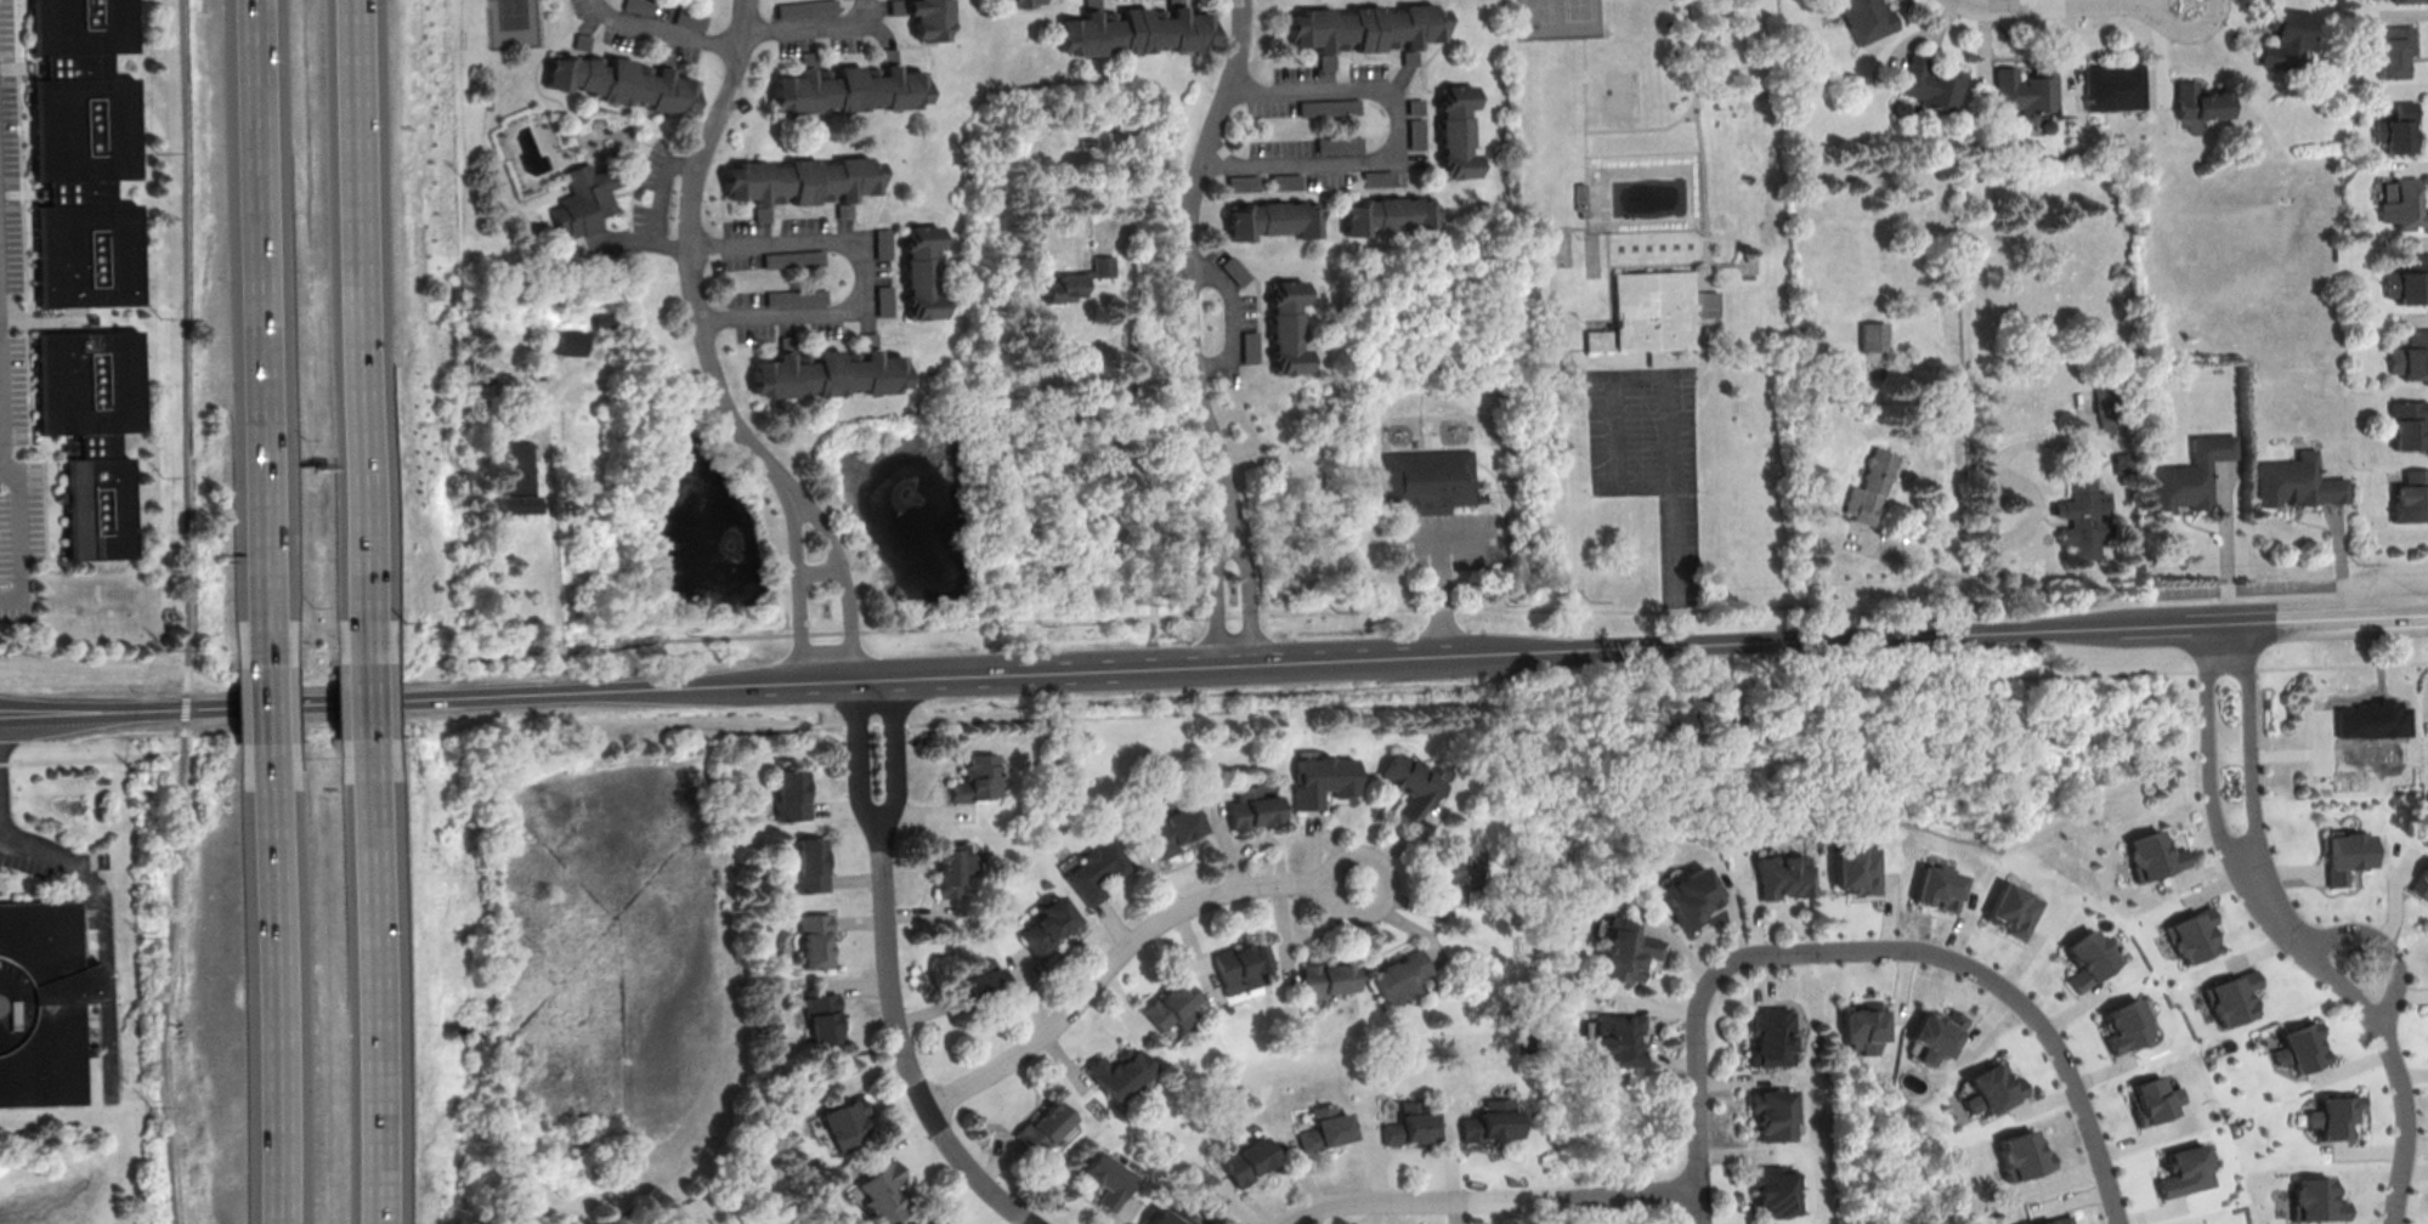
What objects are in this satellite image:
building: (2400, 0)
building: (1024, 2)
road: (2072, 4)
building: (805, 7)
building: (929, 18)
park: (1557, 18)
building: (1866, 18)
park: (514, 23)
building: (1366, 27)
road: (814, 28)
road: (662, 29)
building: (1134, 30)
building: (2282, 38)
building: (2387, 49)
building: (621, 81)
building: (1930, 83)
building: (2112, 86)
building: (849, 87)
building: (2025, 92)
building: (2196, 101)
building: (2395, 127)
building: (1456, 131)
road: (1399, 135)
building: (1340, 144)
building: (83, 153)
building: (799, 181)
parking lot: (655, 198)
building: (587, 199)
building: (2400, 204)
building: (1387, 215)
building: (1269, 217)
road: (813, 239)
building: (881, 253)
building: (792, 257)
road: (691, 259)
road: (1190, 261)
building: (1233, 270)
building: (919, 271)
building: (2407, 278)
building: (1077, 279)
building: (796, 296)
building: (884, 299)
road: (257, 310)
road: (355, 310)
building: (1659, 311)
building: (599, 319)
road: (1233, 319)
building: (1286, 325)
building: (1873, 335)
building: (568, 341)
building: (1596, 342)
building: (1247, 346)
building: (2411, 356)
parking lot: (13, 367)
building: (828, 373)
building: (509, 375)
road: (1671, 378)
building: (2102, 406)
building: (2406, 423)
building: (91, 431)
parking lot: (1653, 463)
road: (1142, 469)
building: (2191, 474)
building: (517, 478)
building: (1430, 481)
building: (2294, 481)
building: (1869, 486)
road: (1992, 488)
building: (2410, 497)
road: (188, 506)
building: (2081, 515)
road: (18, 538)
road: (1455, 539)
parking lot: (1455, 544)
road: (1936, 565)
road: (555, 572)
road: (845, 579)
road: (799, 589)
road: (1247, 591)
road: (1215, 593)
road: (1439, 597)
road: (1215, 614)
road: (1683, 627)
road: (1213, 664)
road: (1539, 696)
road: (362, 702)
road: (264, 704)
building: (2371, 721)
building: (1677, 722)
road: (160, 753)
road: (2252, 759)
road: (67, 760)
road: (2208, 767)
building: (1734, 770)
building: (974, 775)
building: (1321, 776)
building: (1410, 778)
building: (788, 794)
building: (1250, 801)
building: (1170, 824)
building: (2152, 856)
building: (2343, 856)
building: (950, 861)
building: (809, 863)
building: (1454, 865)
building: (1094, 867)
building: (1858, 869)
building: (1783, 877)
building: (2421, 882)
building: (1937, 886)
building: (1691, 894)
building: (2013, 909)
road: (100, 918)
building: (1045, 922)
building: (2191, 934)
building: (813, 940)
road: (2385, 946)
road: (1124, 950)
building: (1624, 952)
building: (2087, 959)
building: (1240, 970)
building: (1399, 974)
road: (888, 976)
building: (975, 977)
building: (1323, 977)
building: (2232, 997)
road: (368, 1003)
road: (271, 1004)
building: (40, 1005)
building: (1171, 1005)
parking lot: (106, 1009)
road: (2030, 1010)
building: (820, 1019)
road: (165, 1021)
building: (2124, 1025)
building: (1863, 1027)
building: (1937, 1035)
building: (1772, 1036)
road: (2390, 1037)
building: (1615, 1038)
road: (1698, 1043)
building: (2299, 1048)
building: (1120, 1073)
building: (1992, 1089)
building: (2152, 1100)
building: (1776, 1112)
building: (2332, 1116)
building: (1492, 1121)
building: (1041, 1122)
road: (170, 1126)
building: (843, 1126)
building: (1413, 1126)
building: (1328, 1127)
road: (754, 1133)
building: (2024, 1155)
building: (1247, 1161)
building: (2185, 1171)
building: (1107, 1172)
building: (1777, 1189)
building: (884, 1192)
building: (2315, 1198)
road: (1493, 1201)
building: (1170, 1214)
building: (2056, 1220)
building: (935, 1222)

